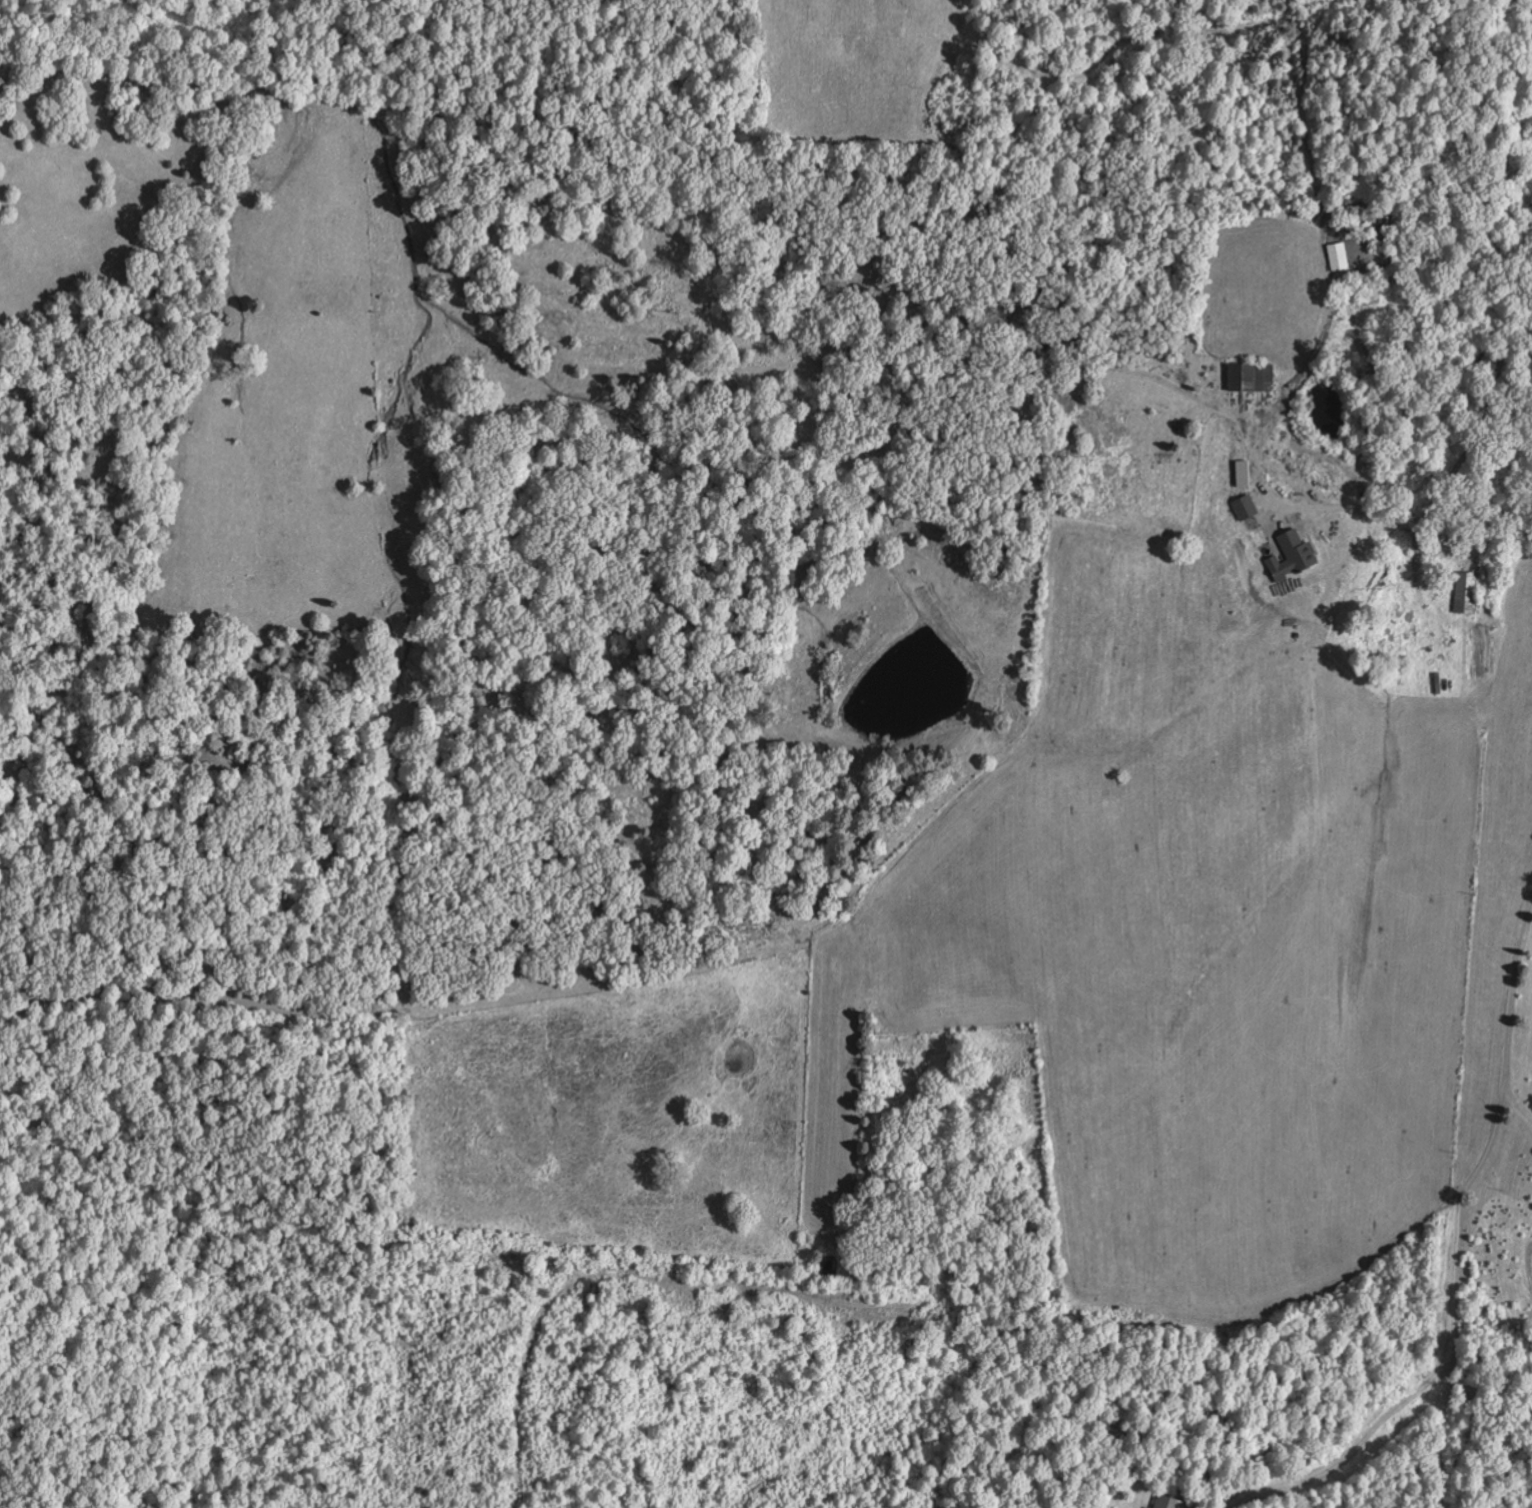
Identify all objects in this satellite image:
building: (1339, 257)
building: (1253, 377)
building: (1246, 507)
building: (1293, 555)
building: (1467, 592)
road: (1520, 1092)
road: (1461, 1268)
building: (1170, 1503)
building: (1150, 1507)

